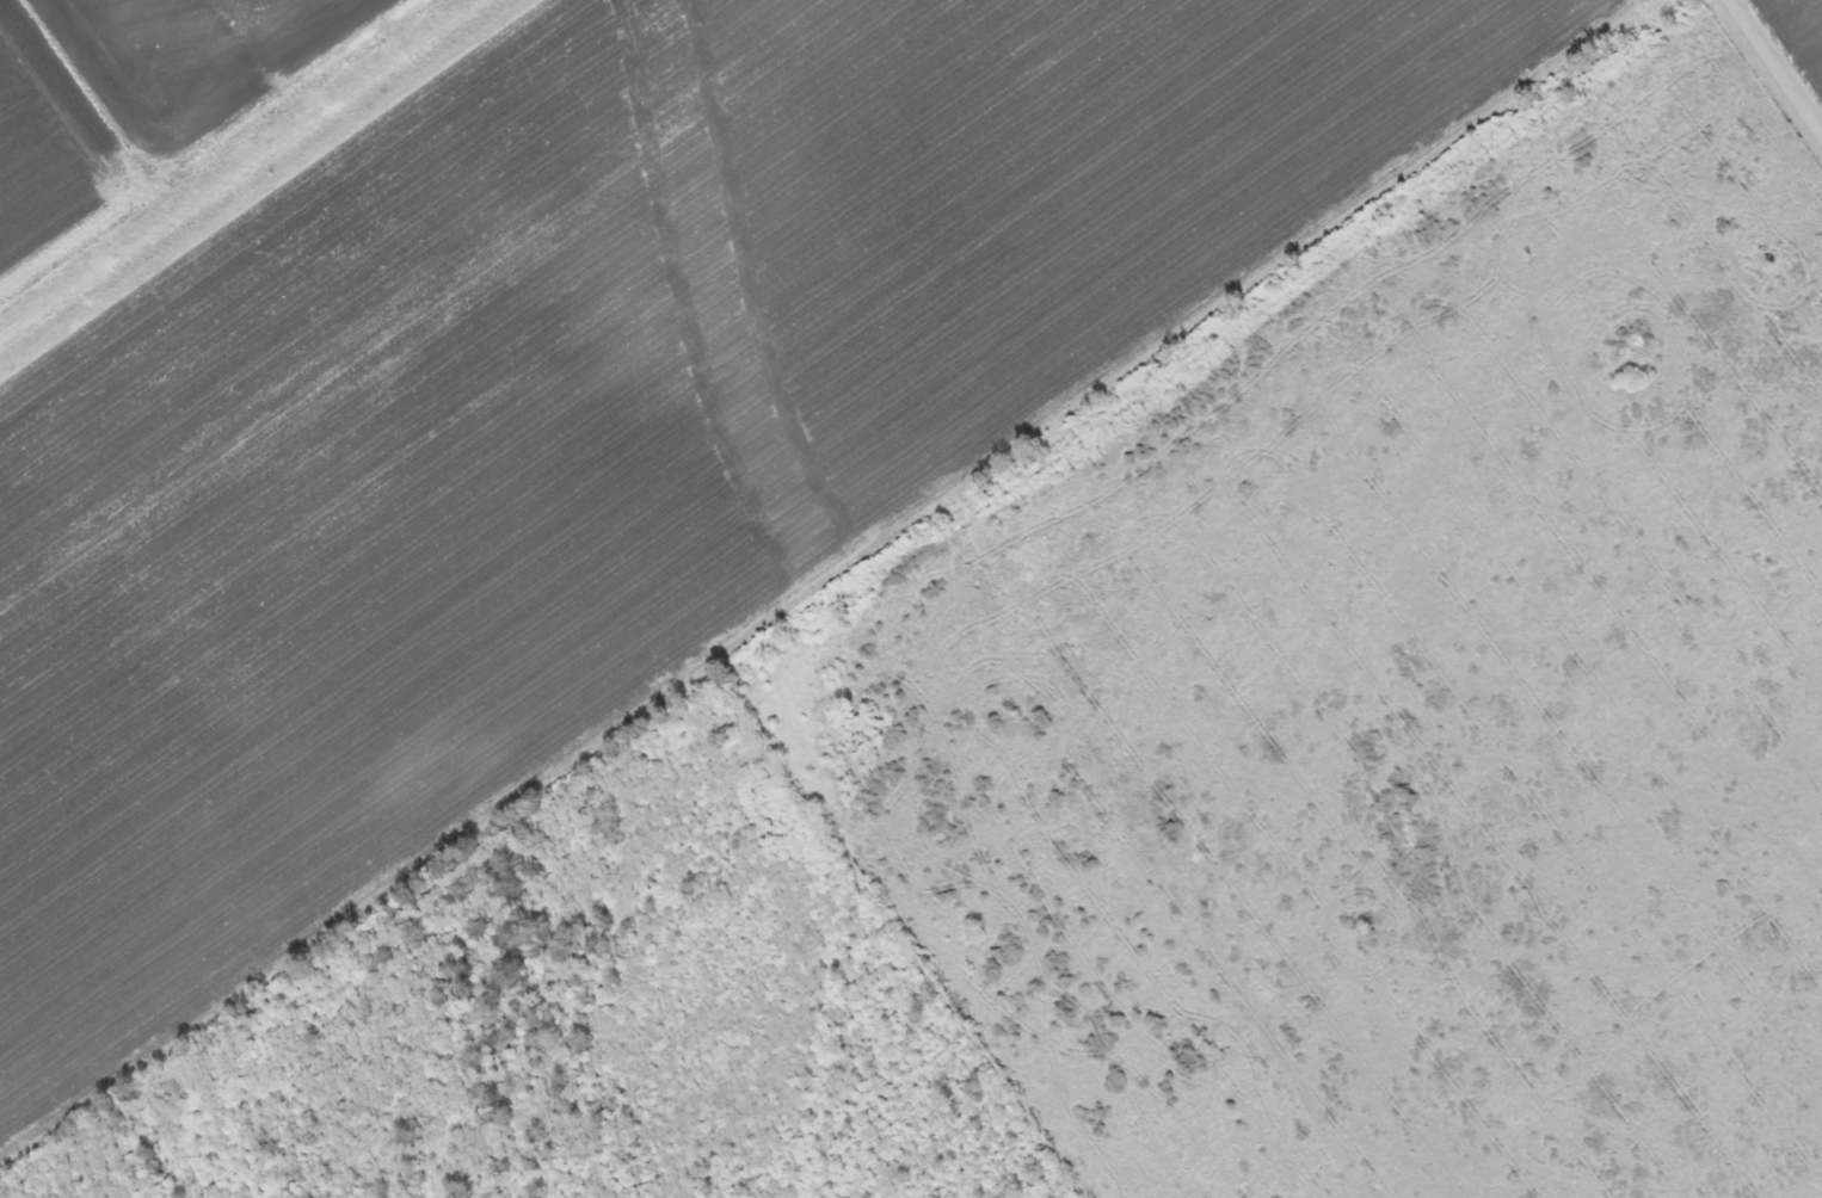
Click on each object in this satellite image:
road: (1778, 61)

